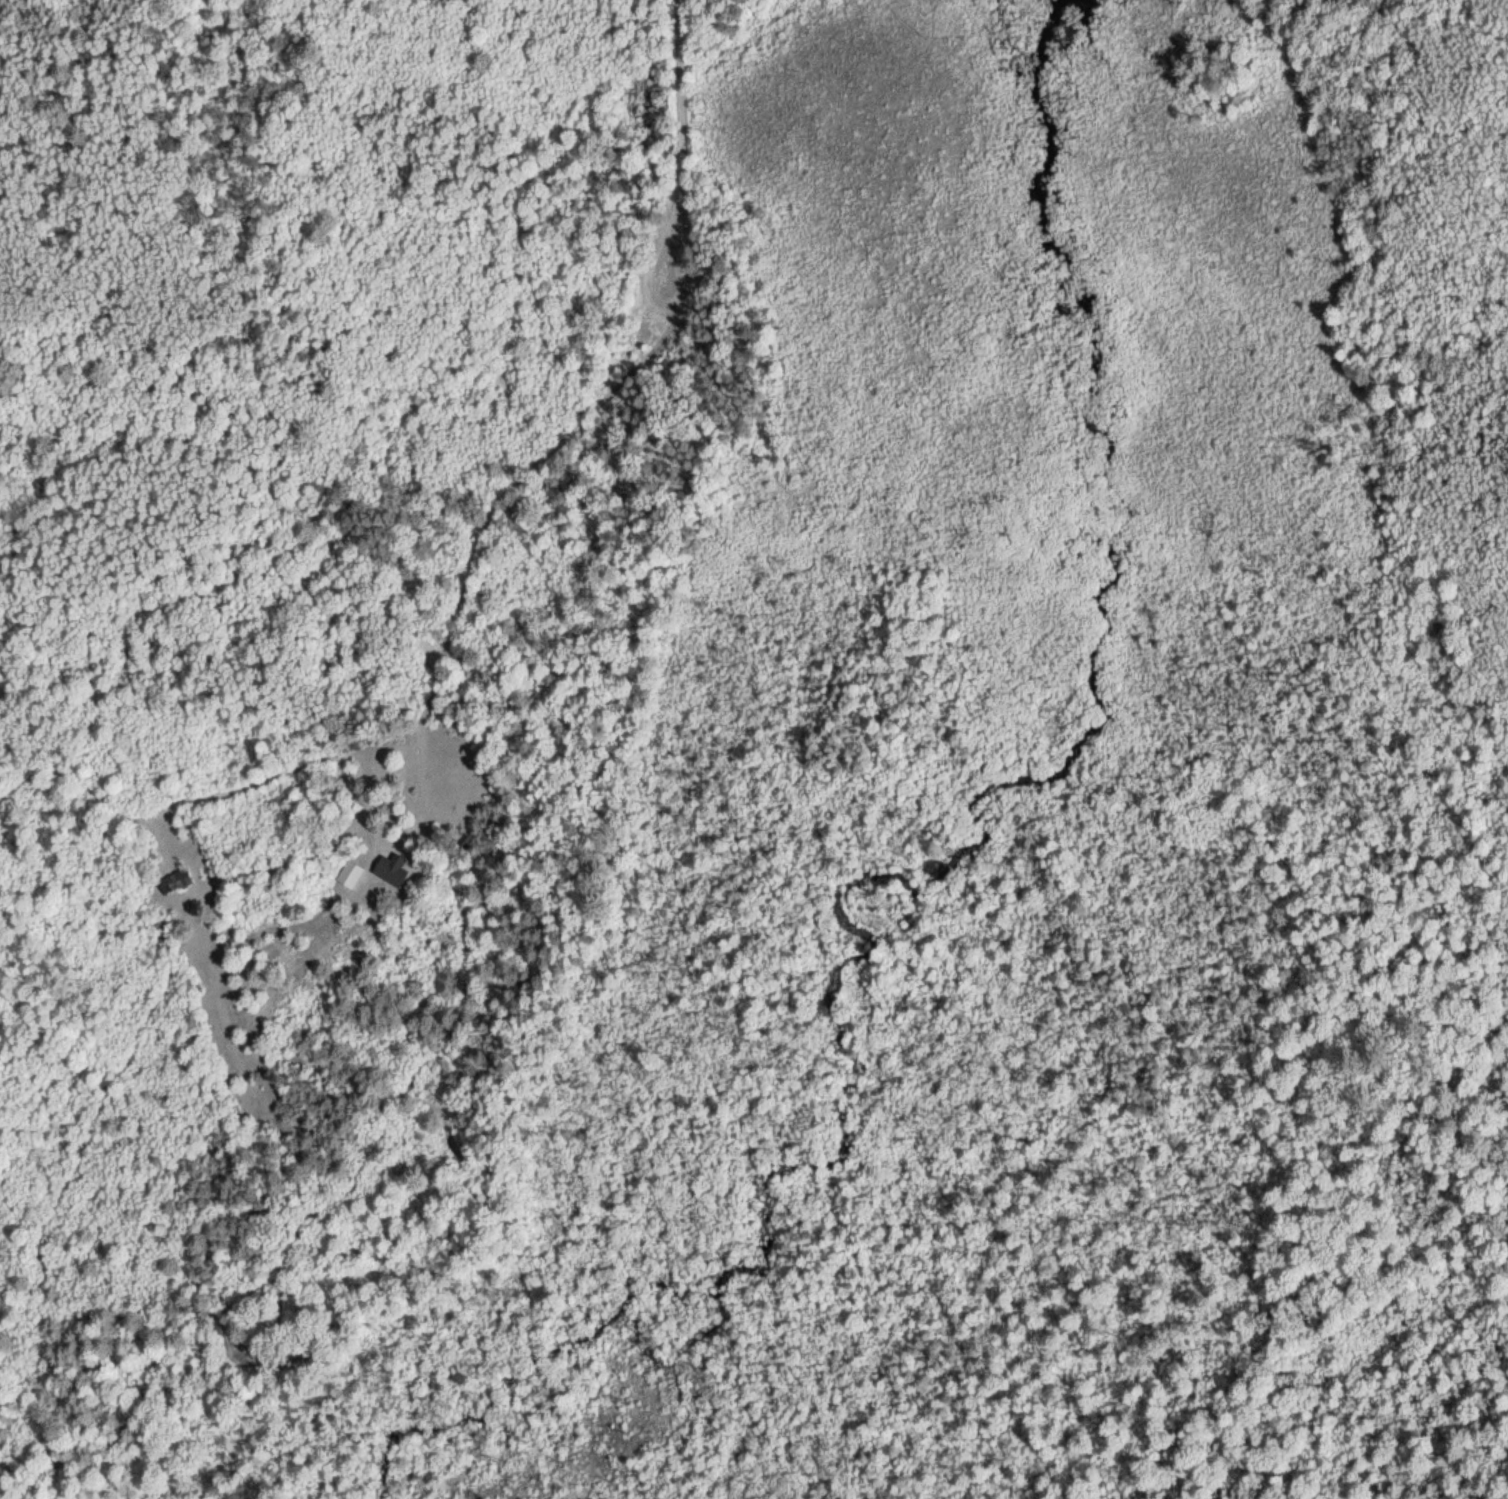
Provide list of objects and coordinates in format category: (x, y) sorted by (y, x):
road: (537, 457)
building: (388, 870)
building: (172, 879)

